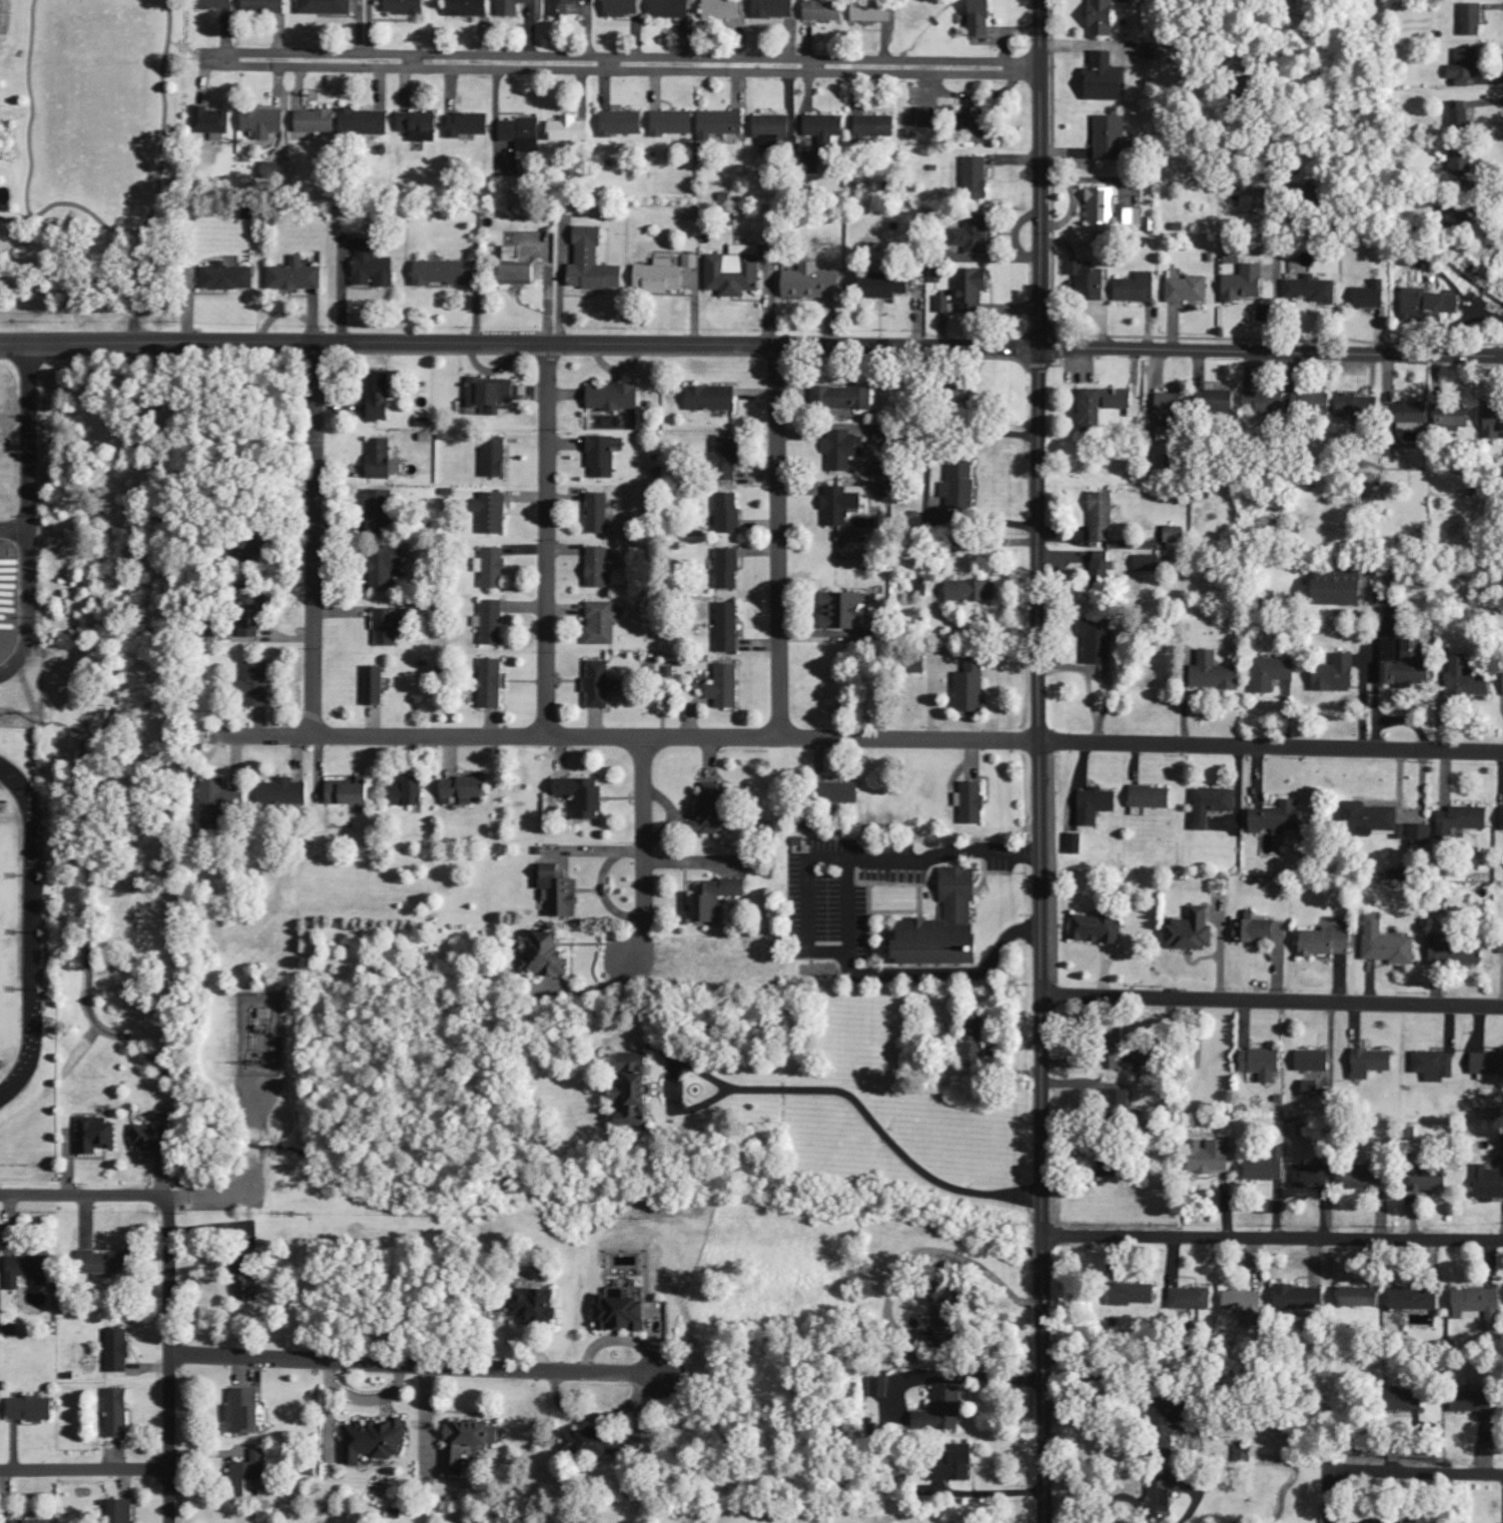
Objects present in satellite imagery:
building: (217, 4)
building: (265, 6)
building: (326, 7)
building: (406, 7)
building: (513, 7)
building: (562, 7)
building: (468, 8)
building: (622, 8)
building: (671, 9)
building: (722, 9)
building: (773, 9)
building: (824, 11)
building: (873, 11)
building: (981, 18)
building: (1103, 18)
building: (1472, 20)
building: (1153, 52)
road: (629, 58)
building: (1465, 69)
road: (636, 70)
building: (1106, 79)
road: (95, 107)
road: (33, 108)
building: (977, 113)
building: (1459, 117)
building: (928, 118)
road: (159, 119)
building: (211, 121)
building: (316, 121)
building: (263, 122)
building: (365, 122)
building: (673, 123)
building: (622, 124)
building: (721, 124)
building: (468, 125)
building: (420, 126)
building: (875, 126)
building: (825, 128)
building: (570, 130)
building: (774, 131)
building: (523, 138)
building: (1112, 138)
park: (87, 142)
building: (1461, 165)
building: (273, 170)
building: (977, 178)
building: (1111, 209)
building: (1462, 217)
building: (975, 234)
road: (131, 235)
building: (1232, 254)
building: (1410, 260)
building: (691, 262)
building: (593, 263)
building: (373, 266)
building: (735, 271)
building: (441, 273)
building: (523, 275)
building: (296, 276)
building: (660, 277)
building: (228, 278)
building: (1089, 279)
building: (812, 282)
building: (886, 284)
building: (1245, 284)
building: (1138, 288)
building: (972, 289)
building: (1188, 290)
building: (1312, 290)
building: (1372, 296)
building: (944, 304)
building: (1430, 305)
road: (520, 344)
traffic signals: (1040, 349)
road: (1271, 352)
building: (491, 394)
building: (964, 394)
building: (381, 397)
building: (615, 397)
building: (714, 398)
building: (843, 398)
building: (1217, 401)
building: (1265, 403)
building: (1313, 405)
building: (1105, 406)
building: (1171, 411)
building: (1413, 413)
building: (1454, 415)
building: (1494, 422)
building: (881, 435)
building: (844, 450)
building: (727, 456)
building: (495, 457)
building: (602, 457)
building: (383, 460)
building: (960, 486)
building: (1105, 503)
building: (843, 504)
building: (379, 512)
building: (492, 513)
building: (598, 513)
building: (728, 514)
building: (1175, 535)
road: (317, 541)
road: (546, 541)
road: (779, 544)
building: (247, 553)
building: (387, 564)
building: (1147, 564)
building: (493, 568)
building: (600, 568)
building: (728, 569)
building: (1101, 571)
building: (1342, 589)
building: (973, 591)
building: (253, 611)
building: (845, 611)
building: (492, 623)
building: (603, 623)
building: (391, 626)
building: (728, 628)
building: (1099, 642)
building: (1404, 666)
building: (1215, 673)
building: (1273, 673)
building: (1336, 675)
building: (1469, 679)
building: (256, 684)
building: (492, 684)
building: (599, 685)
building: (376, 686)
building: (726, 687)
building: (971, 687)
road: (864, 741)
road: (1040, 761)
building: (464, 791)
building: (285, 792)
building: (350, 792)
building: (976, 792)
building: (408, 793)
building: (842, 793)
building: (583, 797)
building: (1152, 798)
building: (221, 799)
building: (1213, 805)
building: (1096, 806)
building: (715, 810)
building: (1280, 819)
building: (1368, 819)
building: (1462, 821)
building: (811, 824)
building: (1420, 835)
building: (1075, 844)
road: (643, 852)
building: (561, 892)
building: (719, 899)
building: (947, 926)
building: (1098, 929)
building: (1256, 929)
building: (1193, 931)
building: (1327, 942)
building: (1388, 944)
building: (1501, 946)
building: (1455, 953)
building: (550, 954)
road: (1273, 999)
power substation: (260, 1034)
building: (974, 1040)
building: (1314, 1061)
building: (1372, 1063)
building: (1263, 1064)
building: (1435, 1066)
building: (1314, 1089)
building: (635, 1091)
building: (1118, 1100)
building: (1491, 1114)
building: (97, 1136)
building: (155, 1142)
building: (1208, 1157)
building: (1109, 1166)
building: (1262, 1170)
building: (1312, 1176)
building: (1368, 1177)
building: (1431, 1180)
building: (1489, 1182)
road: (84, 1196)
road: (1273, 1238)
building: (106, 1263)
building: (28, 1271)
building: (247, 1283)
building: (1132, 1295)
building: (1360, 1297)
building: (1299, 1298)
building: (1190, 1299)
building: (1416, 1299)
building: (1479, 1305)
building: (1245, 1306)
building: (535, 1308)
building: (623, 1314)
building: (947, 1319)
building: (119, 1349)
road: (170, 1359)
road: (416, 1365)
building: (880, 1386)
building: (1408, 1400)
building: (32, 1410)
building: (943, 1412)
building: (244, 1413)
building: (117, 1414)
building: (1165, 1418)
building: (374, 1442)
building: (469, 1443)
building: (587, 1443)
building: (1242, 1455)
building: (956, 1466)
road: (85, 1470)
road: (1392, 1471)
building: (249, 1474)
building: (1176, 1490)
building: (121, 1511)
building: (32, 1522)
building: (1375, 1522)

